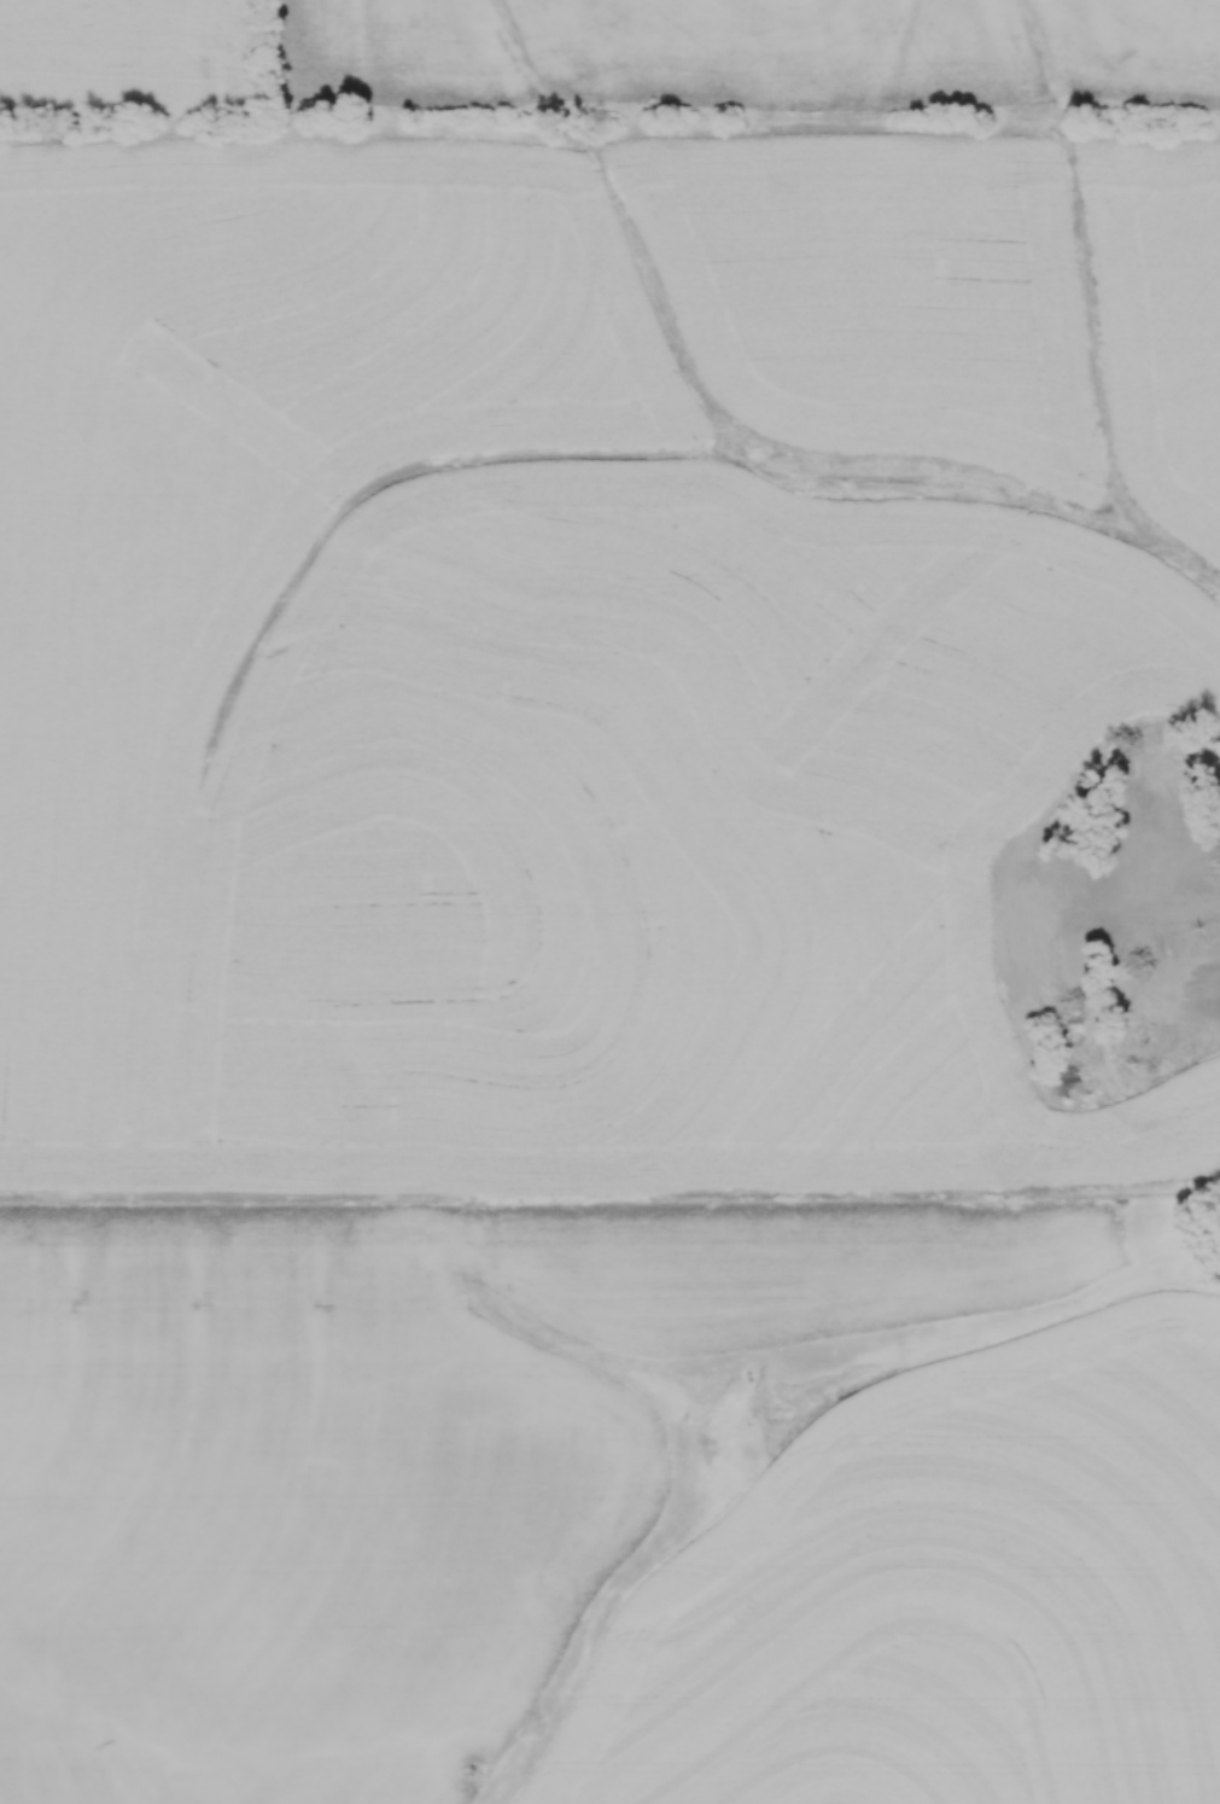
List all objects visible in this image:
crop: (758, 57)
building: (1215, 859)
building: (1146, 871)
building: (1144, 950)
crop: (570, 962)

